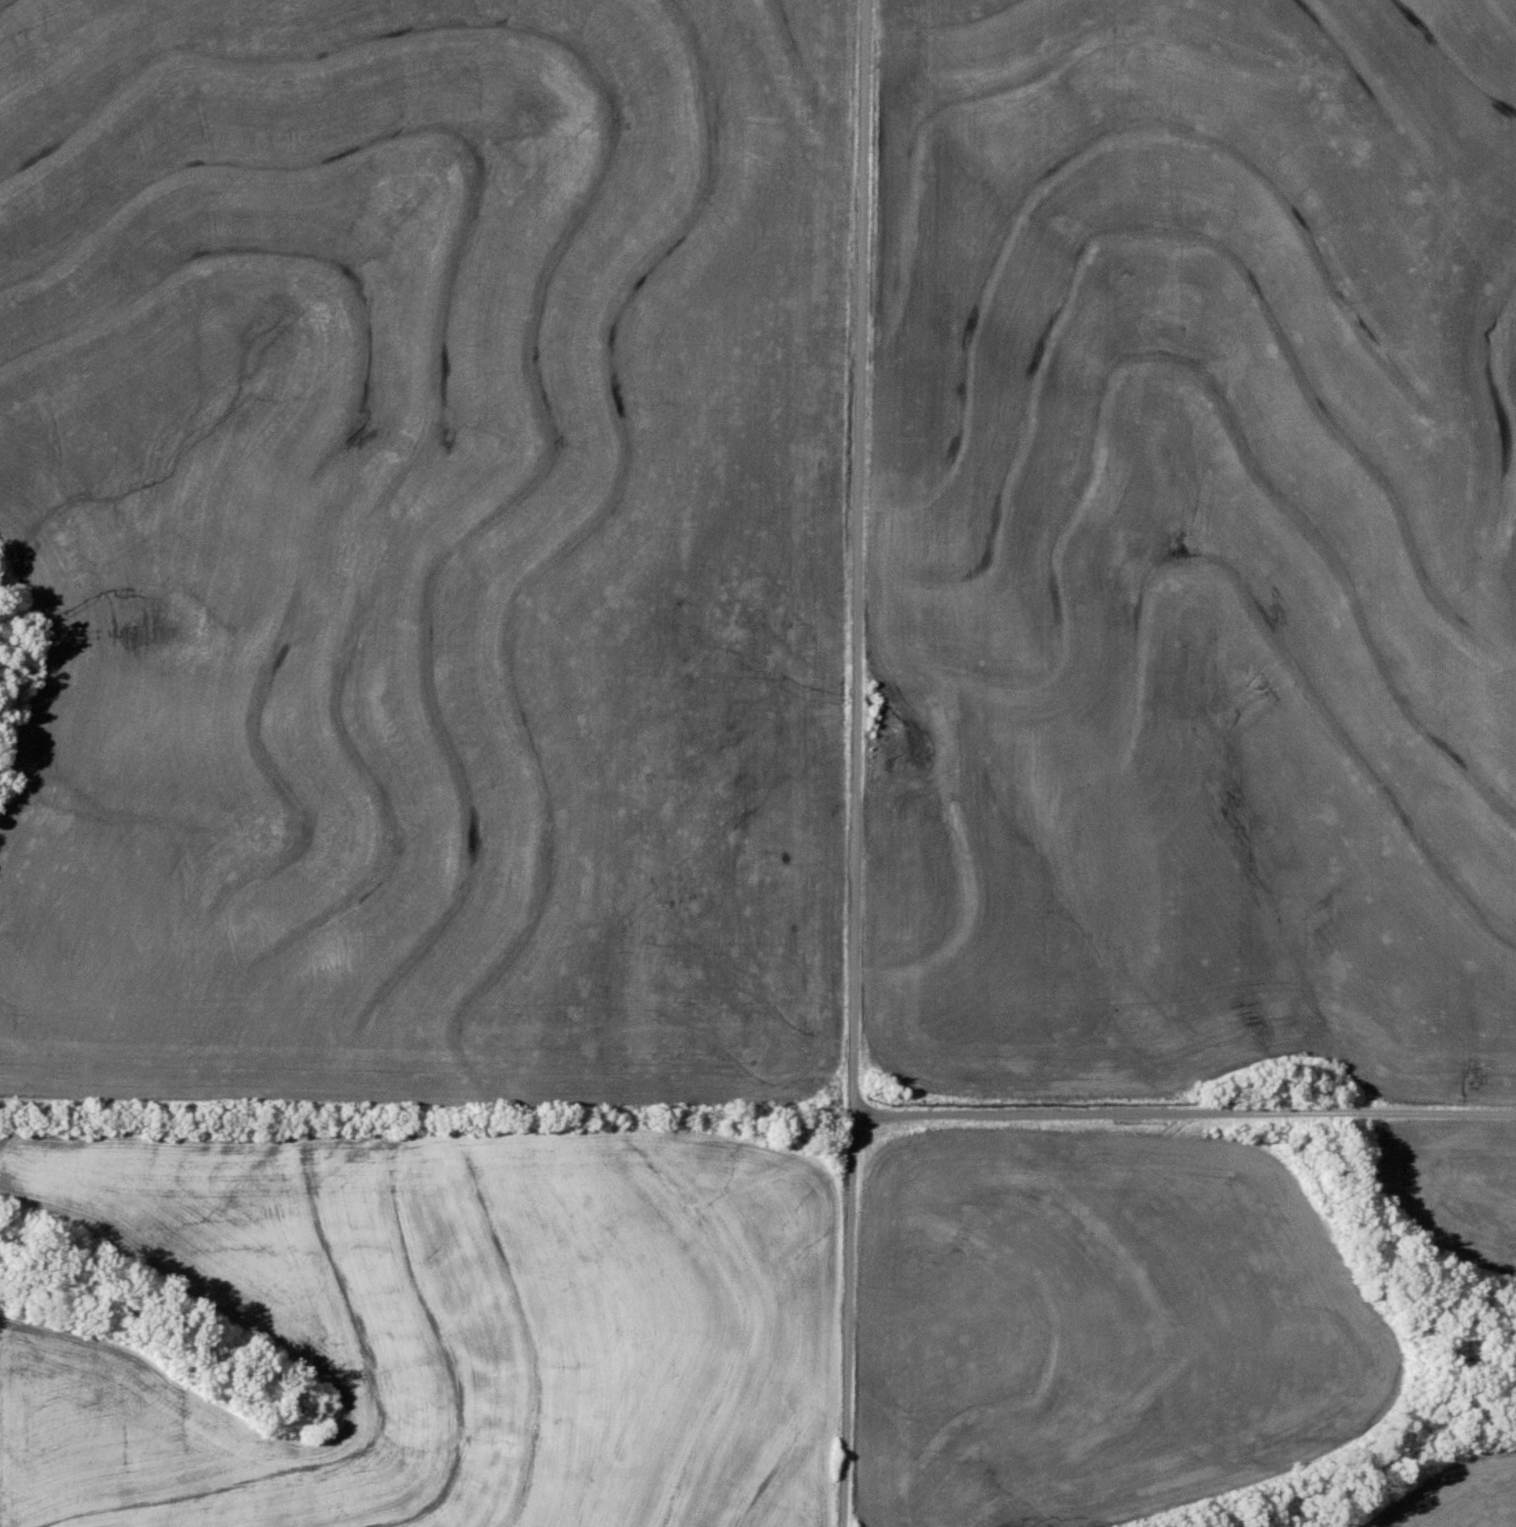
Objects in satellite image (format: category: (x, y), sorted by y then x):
road: (852, 763)
road: (1183, 1113)

